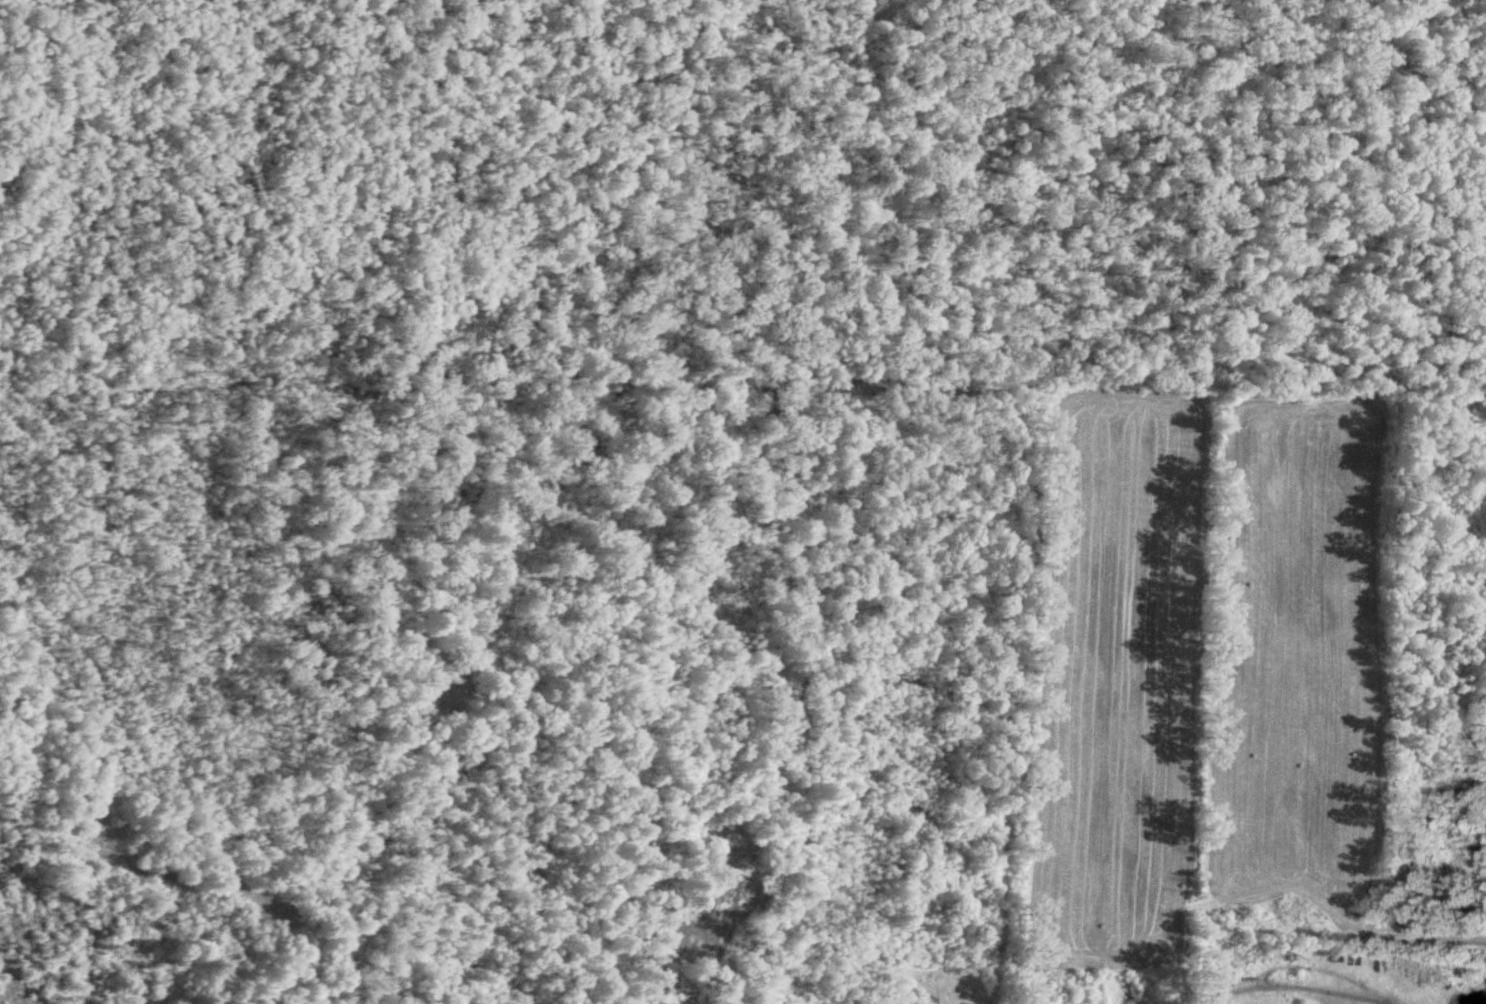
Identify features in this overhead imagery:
building: (1301, 910)

